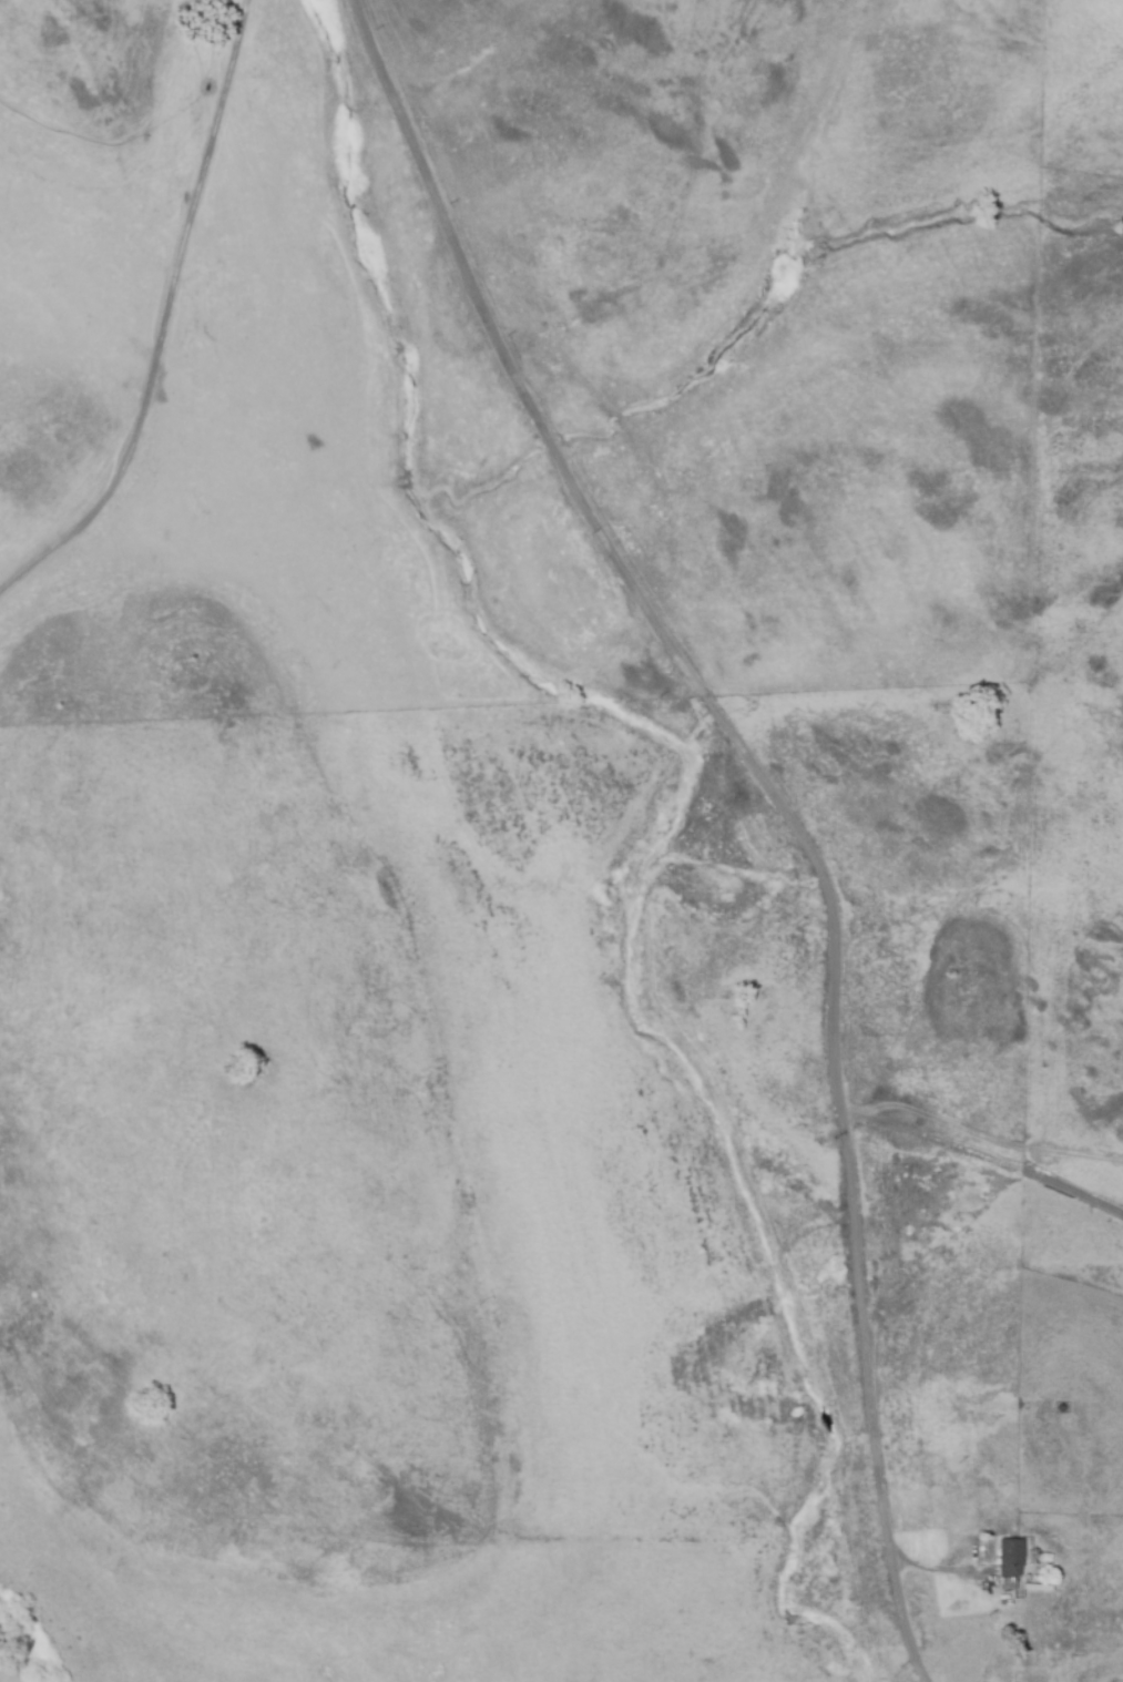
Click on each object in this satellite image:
road: (796, 801)
road: (991, 1158)
building: (1012, 1556)

